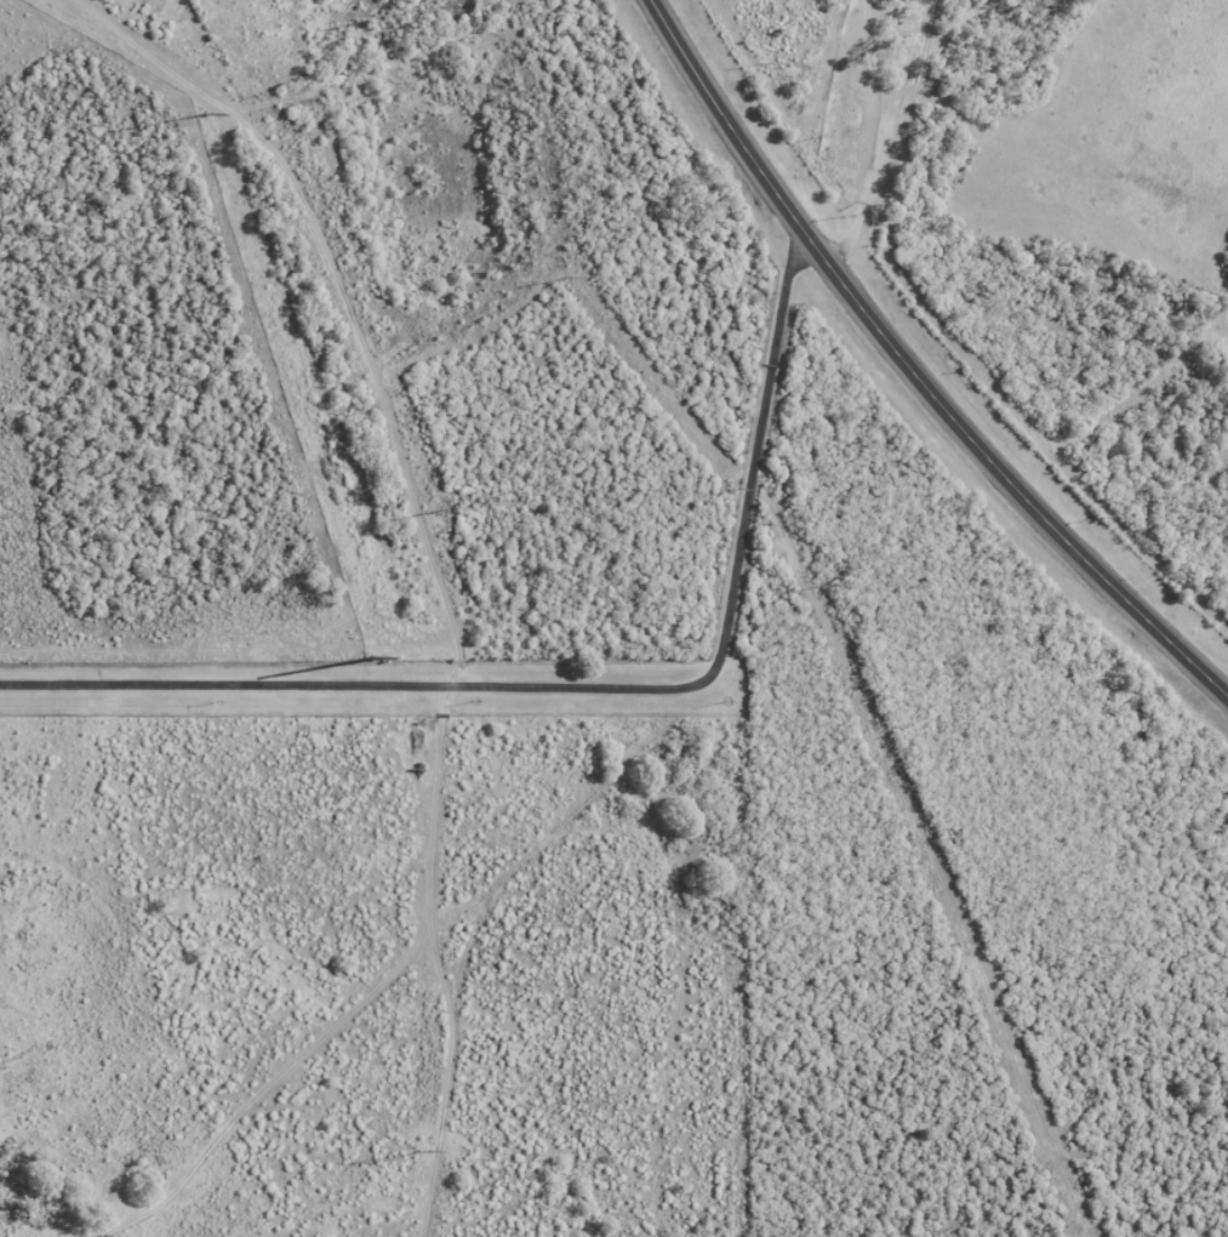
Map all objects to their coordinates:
power tower: (405, 15)
power tower: (370, 23)
power tower: (205, 115)
road: (875, 138)
power tower: (572, 278)
road: (914, 370)
power tower: (737, 490)
power tower: (433, 512)
power tower: (818, 588)
power tower: (375, 660)
road: (336, 685)
road: (639, 734)
power tower: (964, 942)
road: (342, 1082)
power tower: (419, 1153)

